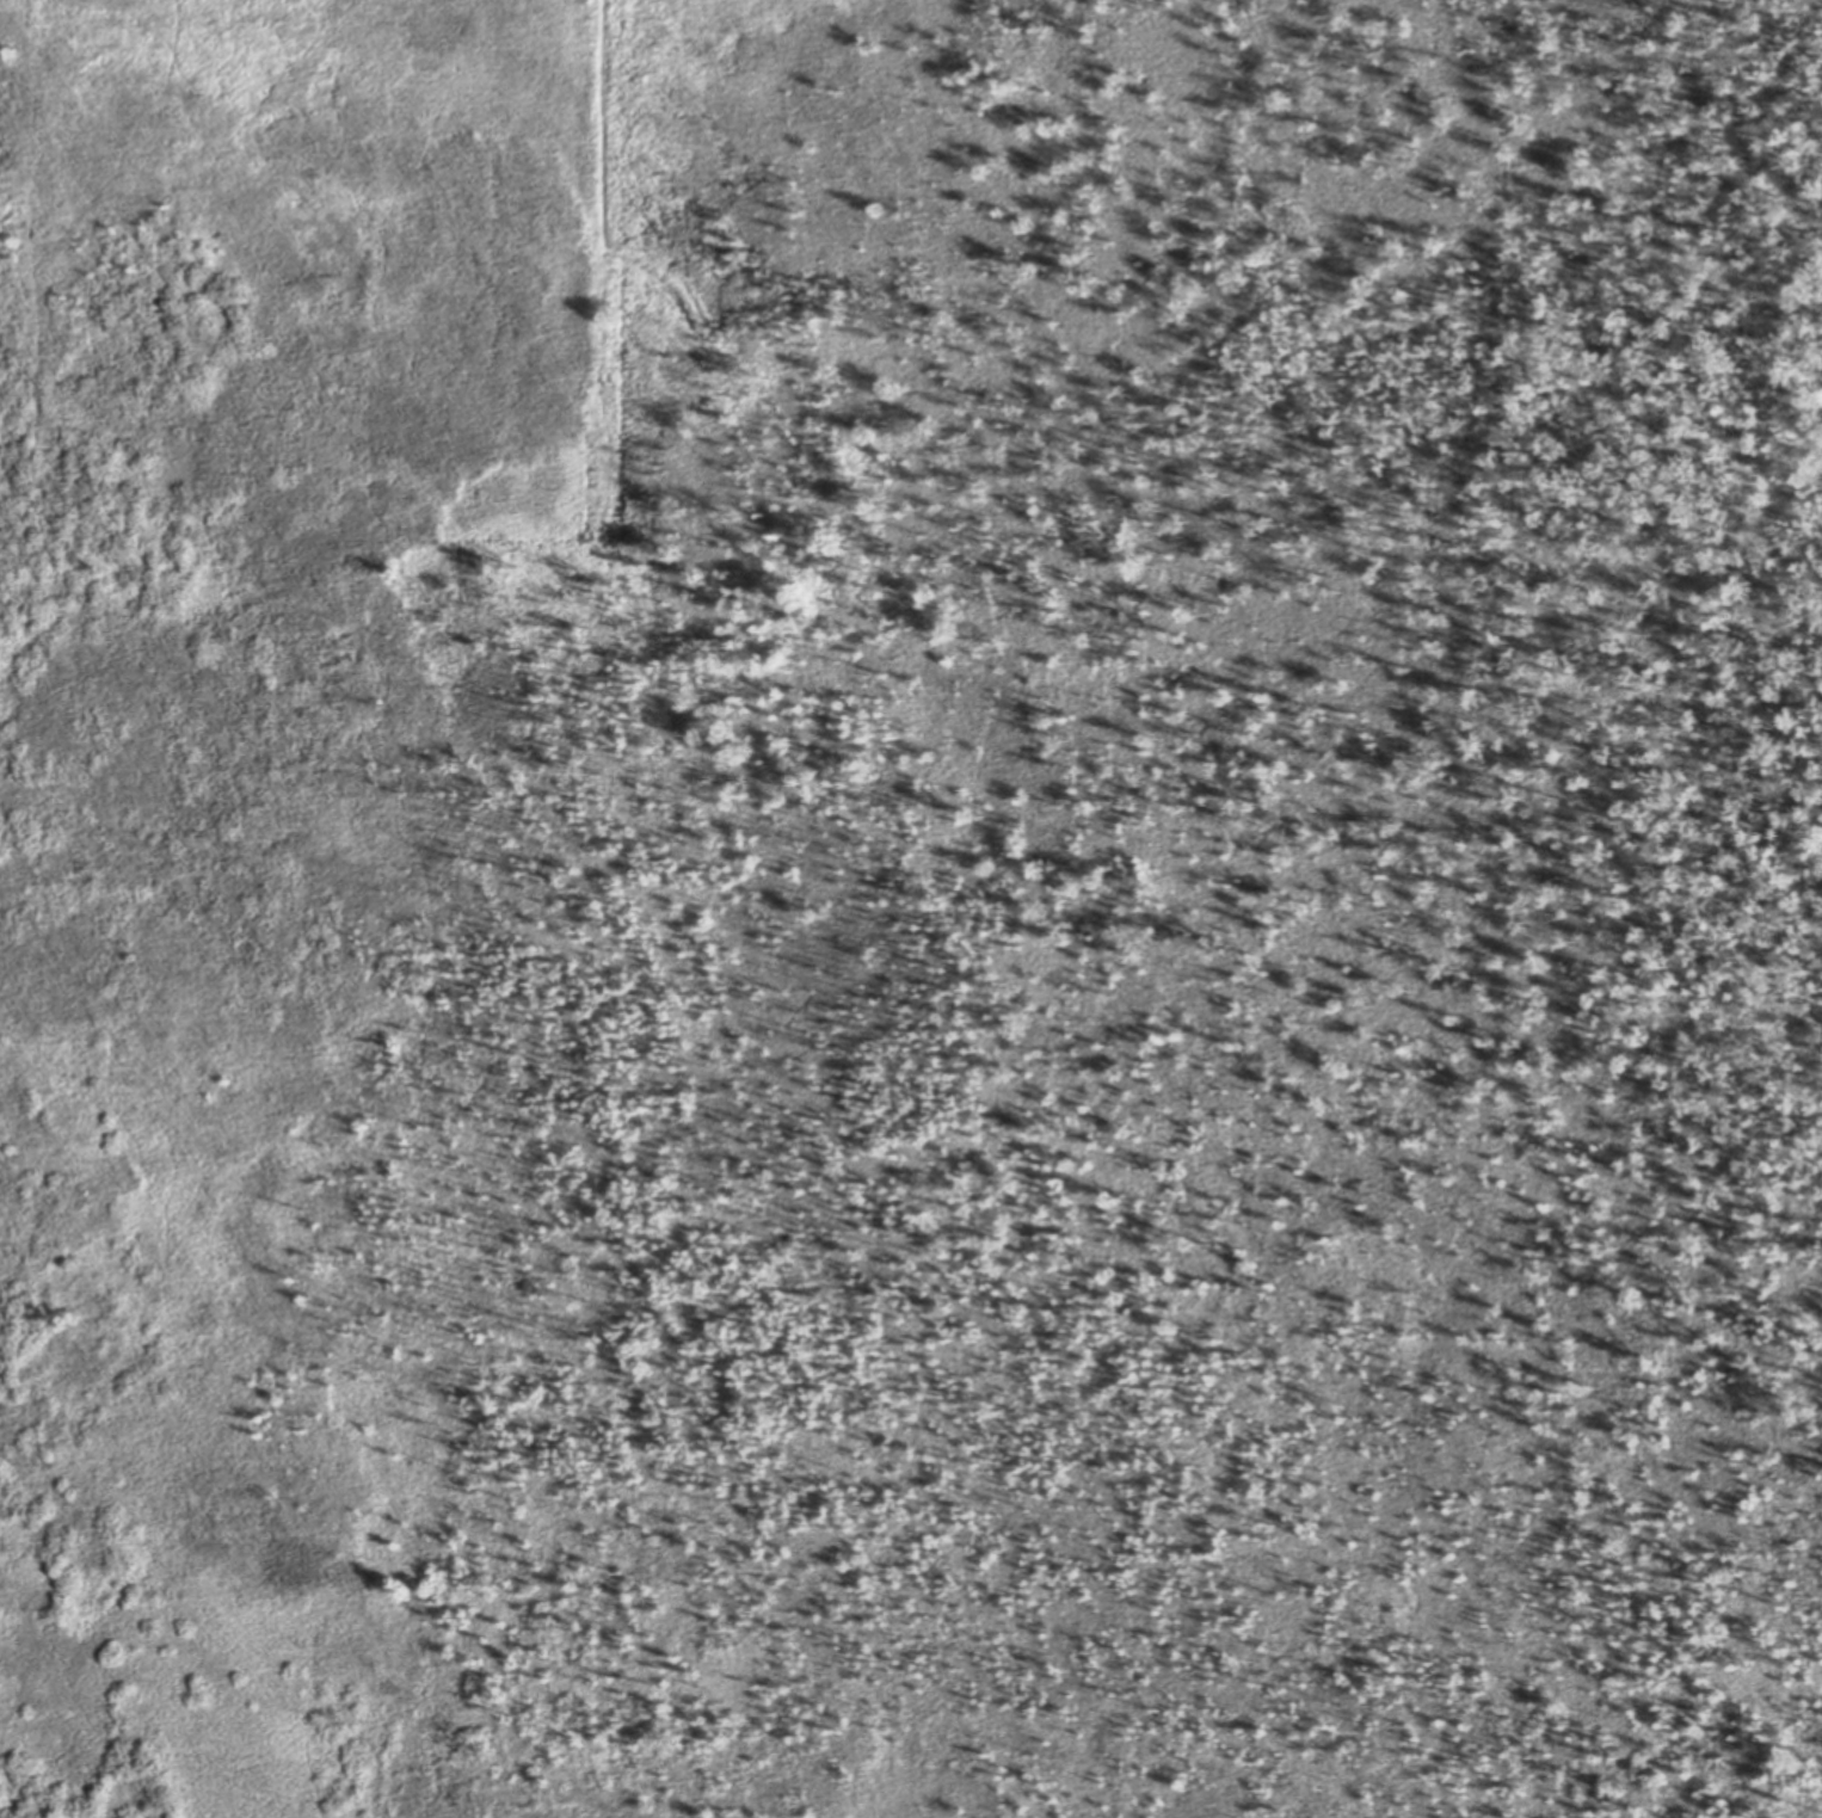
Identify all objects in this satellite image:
crop: (192, 17)

